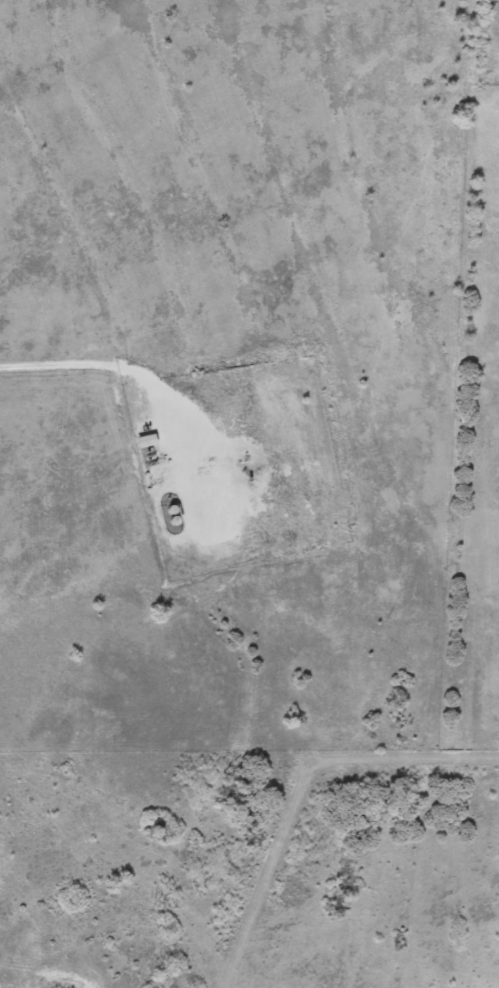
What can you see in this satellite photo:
road: (59, 362)

